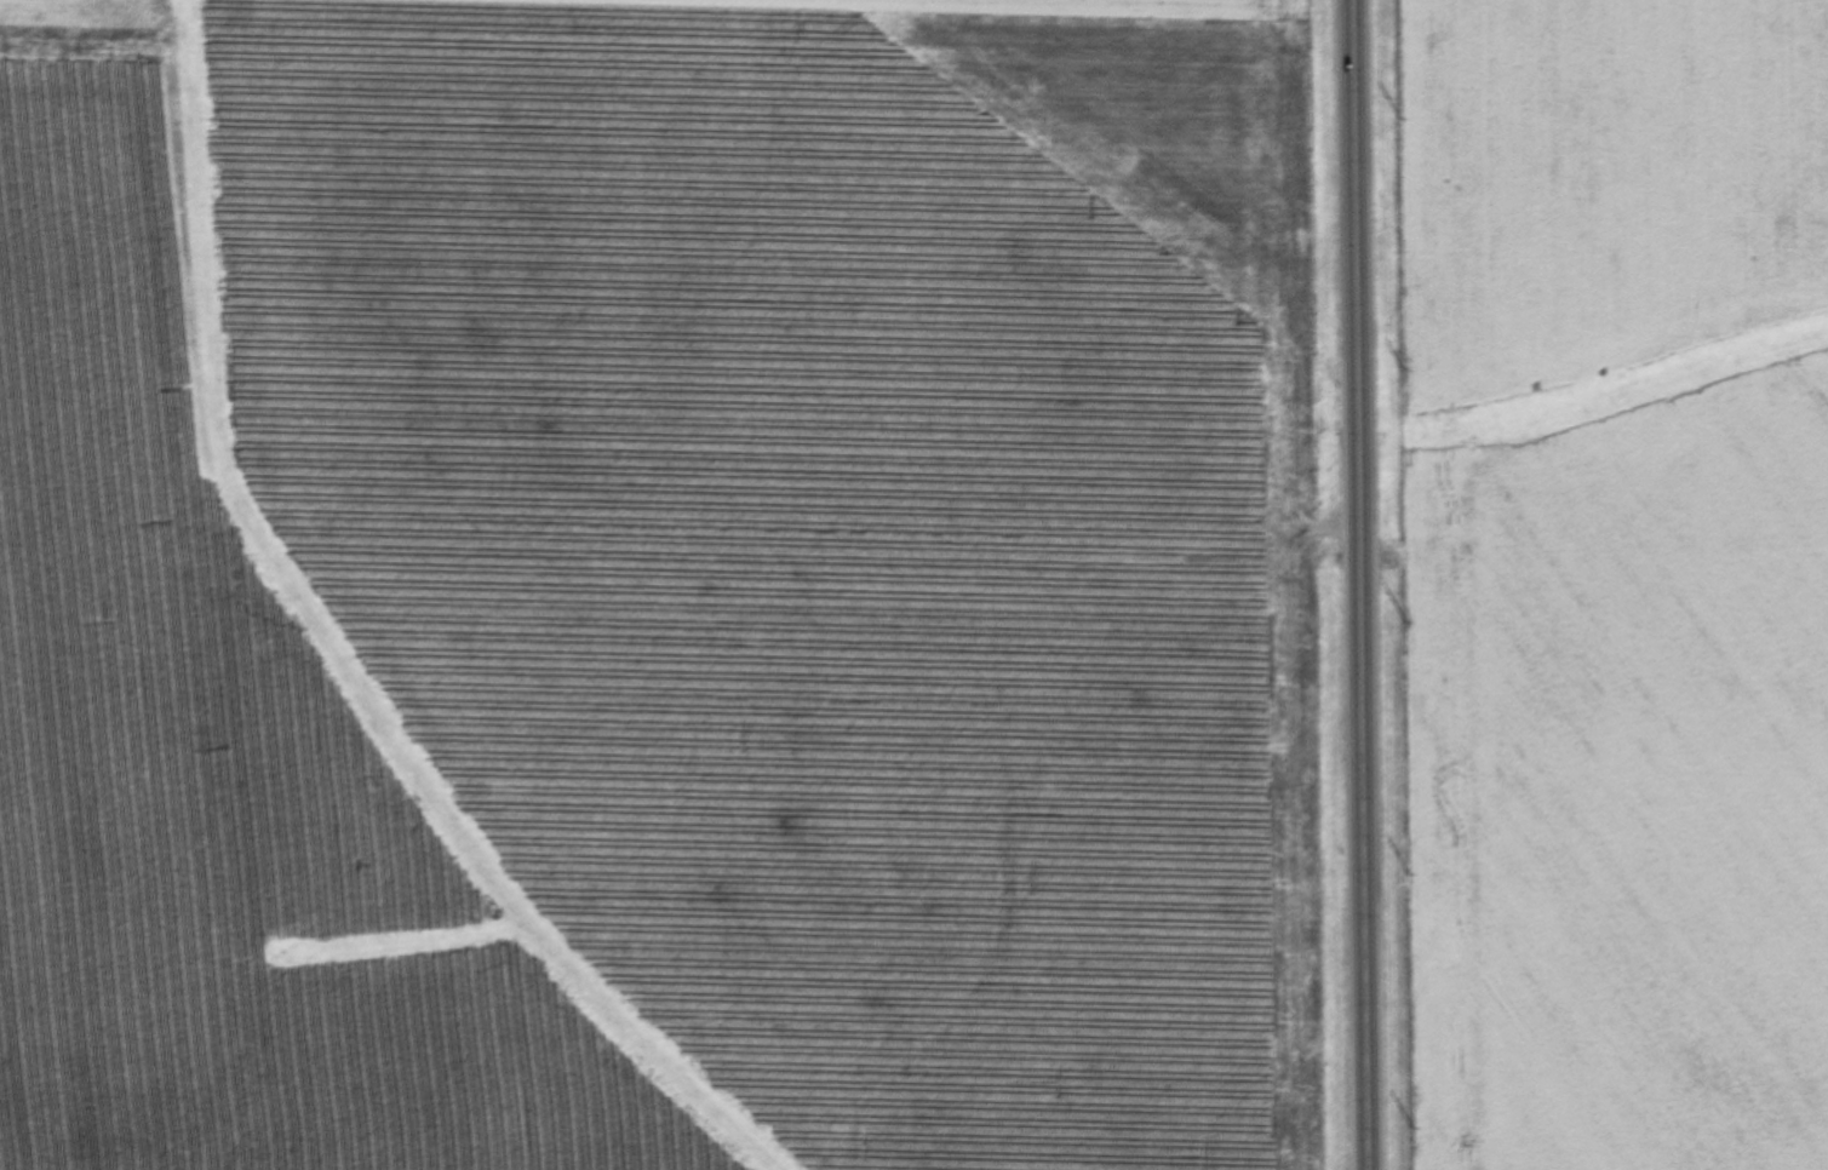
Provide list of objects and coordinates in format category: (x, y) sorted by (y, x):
road: (1359, 585)

